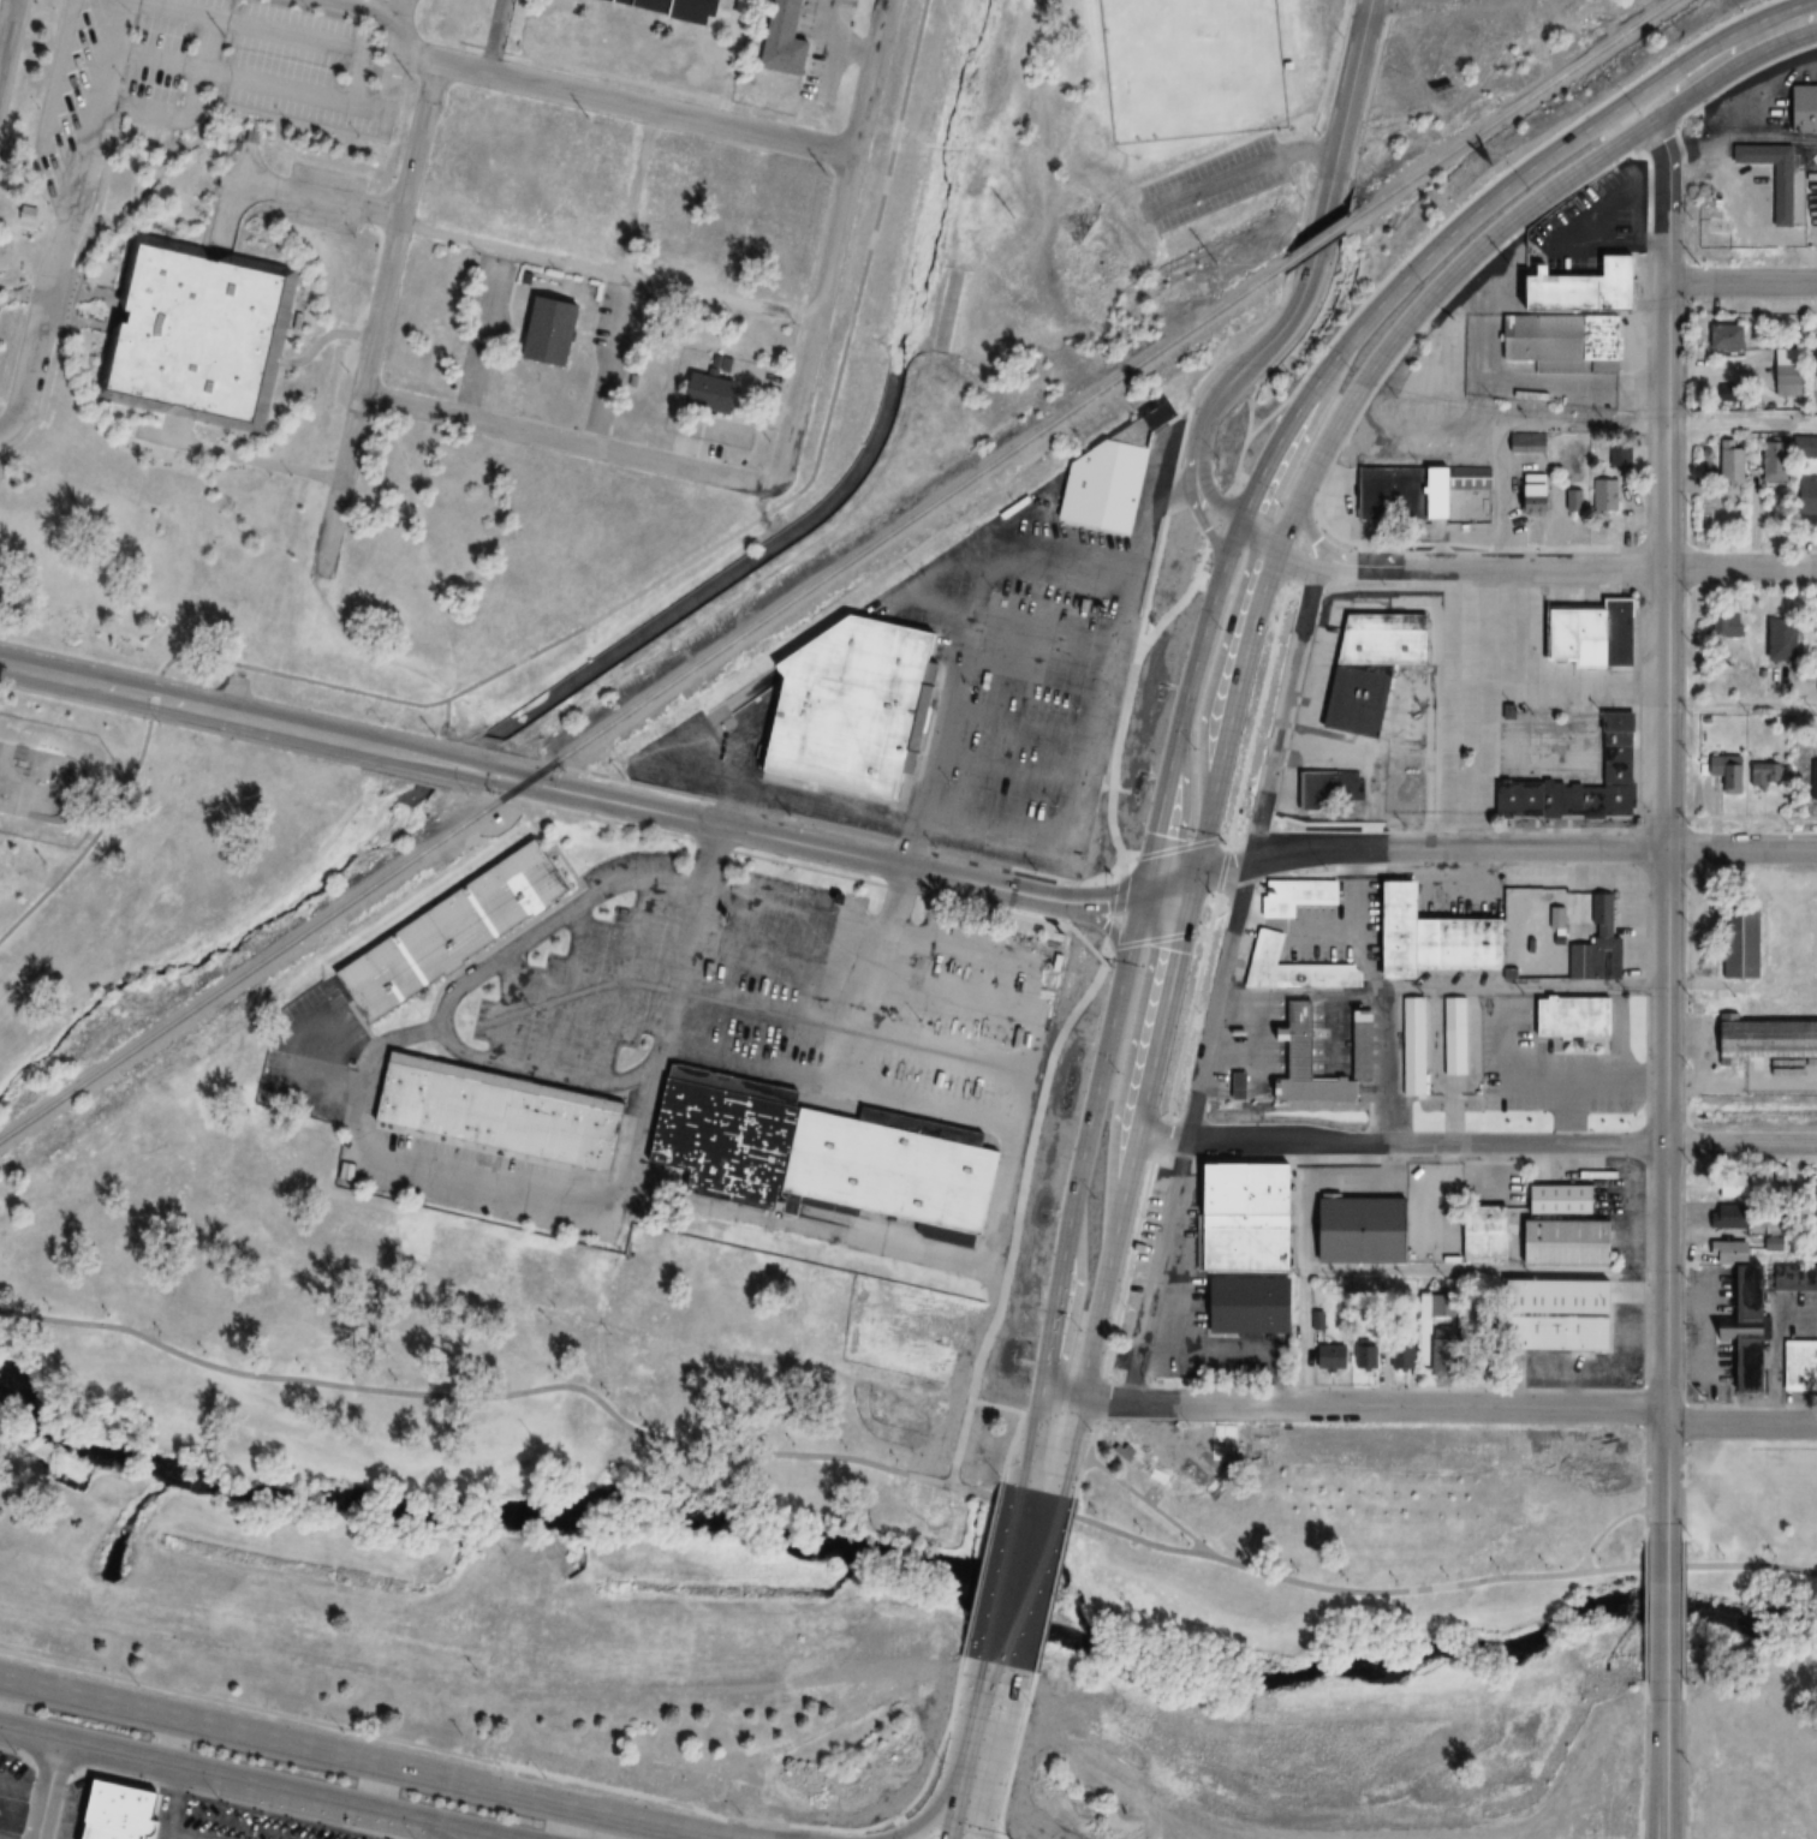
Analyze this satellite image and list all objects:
parking lot: (406, 1)
building: (705, 2)
road: (404, 11)
road: (380, 12)
road: (5, 23)
road: (1789, 23)
road: (249, 26)
building: (791, 40)
road: (105, 52)
parking lot: (261, 56)
road: (1703, 68)
road: (199, 74)
road: (358, 79)
road: (243, 83)
road: (391, 83)
road: (624, 102)
railway: (1514, 108)
building: (1800, 108)
road: (133, 114)
road: (1742, 142)
road: (1238, 172)
parking lot: (1211, 183)
road: (1482, 189)
road: (631, 192)
building: (1774, 196)
road: (1345, 198)
building: (26, 214)
road: (1472, 232)
road: (830, 241)
railway: (1322, 243)
road: (510, 250)
road: (1306, 265)
road: (48, 270)
building: (1593, 280)
road: (1742, 281)
road: (717, 299)
road: (377, 314)
building: (549, 329)
building: (197, 332)
road: (1252, 334)
building: (1718, 335)
building: (1556, 341)
building: (1812, 346)
building: (1781, 371)
building: (716, 392)
road: (1250, 408)
road: (1568, 425)
road: (1317, 430)
road: (565, 440)
building: (1521, 443)
road: (820, 447)
building: (1618, 458)
building: (1726, 461)
building: (1768, 462)
road: (1239, 466)
road: (1239, 480)
building: (1104, 485)
building: (1527, 485)
building: (1411, 490)
road: (1174, 492)
road: (1277, 492)
building: (1602, 495)
building: (1803, 497)
building: (1571, 501)
road: (1277, 506)
road: (1300, 518)
road: (1217, 521)
road: (1227, 526)
road: (1297, 548)
road: (1289, 556)
road: (1199, 566)
road: (1568, 567)
road: (1219, 579)
road: (1243, 590)
road: (908, 593)
road: (1241, 602)
road: (1667, 621)
building: (1584, 634)
building: (1378, 639)
building: (1775, 644)
road: (155, 679)
building: (1350, 701)
railway: (643, 704)
building: (854, 705)
road: (1741, 705)
road: (1125, 710)
road: (1216, 713)
road: (1256, 716)
road: (443, 720)
road: (264, 722)
road: (245, 736)
road: (567, 768)
building: (1759, 775)
building: (1729, 777)
park: (38, 781)
building: (1332, 786)
building: (1591, 789)
building: (1511, 799)
road: (732, 805)
road: (1327, 820)
road: (1191, 824)
road: (1257, 826)
road: (1070, 829)
road: (1231, 835)
road: (810, 844)
road: (1174, 847)
road: (1496, 850)
park: (154, 864)
road: (1221, 868)
road: (667, 874)
road: (901, 877)
traffic signals: (1179, 879)
road: (923, 892)
road: (1136, 894)
building: (1291, 896)
road: (1118, 903)
road: (1210, 916)
building: (1527, 919)
building: (457, 932)
road: (1152, 938)
building: (1591, 942)
building: (1735, 942)
building: (1449, 944)
park: (1793, 947)
road: (1162, 956)
road: (1137, 959)
building: (1288, 969)
road: (1220, 984)
road: (1442, 992)
park: (1750, 998)
building: (1566, 1019)
road: (1187, 1023)
building: (1450, 1037)
building: (1762, 1038)
building: (1364, 1045)
building: (1411, 1046)
building: (1307, 1065)
road: (1132, 1087)
building: (1233, 1087)
building: (506, 1110)
road: (1160, 1134)
building: (729, 1135)
road: (1467, 1142)
road: (635, 1150)
road: (1263, 1158)
building: (901, 1166)
building: (1728, 1187)
road: (1107, 1198)
building: (1246, 1198)
building: (1811, 1199)
building: (1551, 1200)
road: (1019, 1207)
building: (1723, 1217)
building: (1357, 1232)
building: (1478, 1232)
building: (1770, 1238)
building: (1578, 1240)
building: (1246, 1250)
road: (1127, 1262)
road: (1485, 1271)
road: (1304, 1273)
road: (1667, 1283)
building: (1798, 1283)
building: (1249, 1307)
building: (1565, 1315)
road: (1077, 1326)
building: (1749, 1326)
building: (1364, 1349)
building: (1327, 1357)
building: (1401, 1357)
building: (1798, 1366)
road: (1098, 1397)
road: (994, 1403)
road: (1363, 1404)
road: (1741, 1425)
road: (1053, 1434)
road: (1008, 1444)
park: (485, 1453)
road: (1084, 1456)
road: (902, 1470)
road: (1646, 1473)
road: (1666, 1481)
road: (1681, 1488)
road: (1149, 1504)
road: (1603, 1529)
river: (898, 1558)
road: (981, 1566)
road: (1020, 1576)
road: (1054, 1582)
road: (1646, 1617)
road: (1664, 1617)
road: (1681, 1617)
park: (1345, 1637)
park: (1753, 1640)
road: (16, 1750)
road: (1014, 1754)
road: (359, 1759)
road: (979, 1760)
road: (947, 1763)
road: (1645, 1767)
road: (1682, 1767)
road: (1663, 1768)
road: (535, 1769)
road: (249, 1783)
road: (48, 1789)
building: (117, 1811)
road: (901, 1826)
road: (473, 1837)

